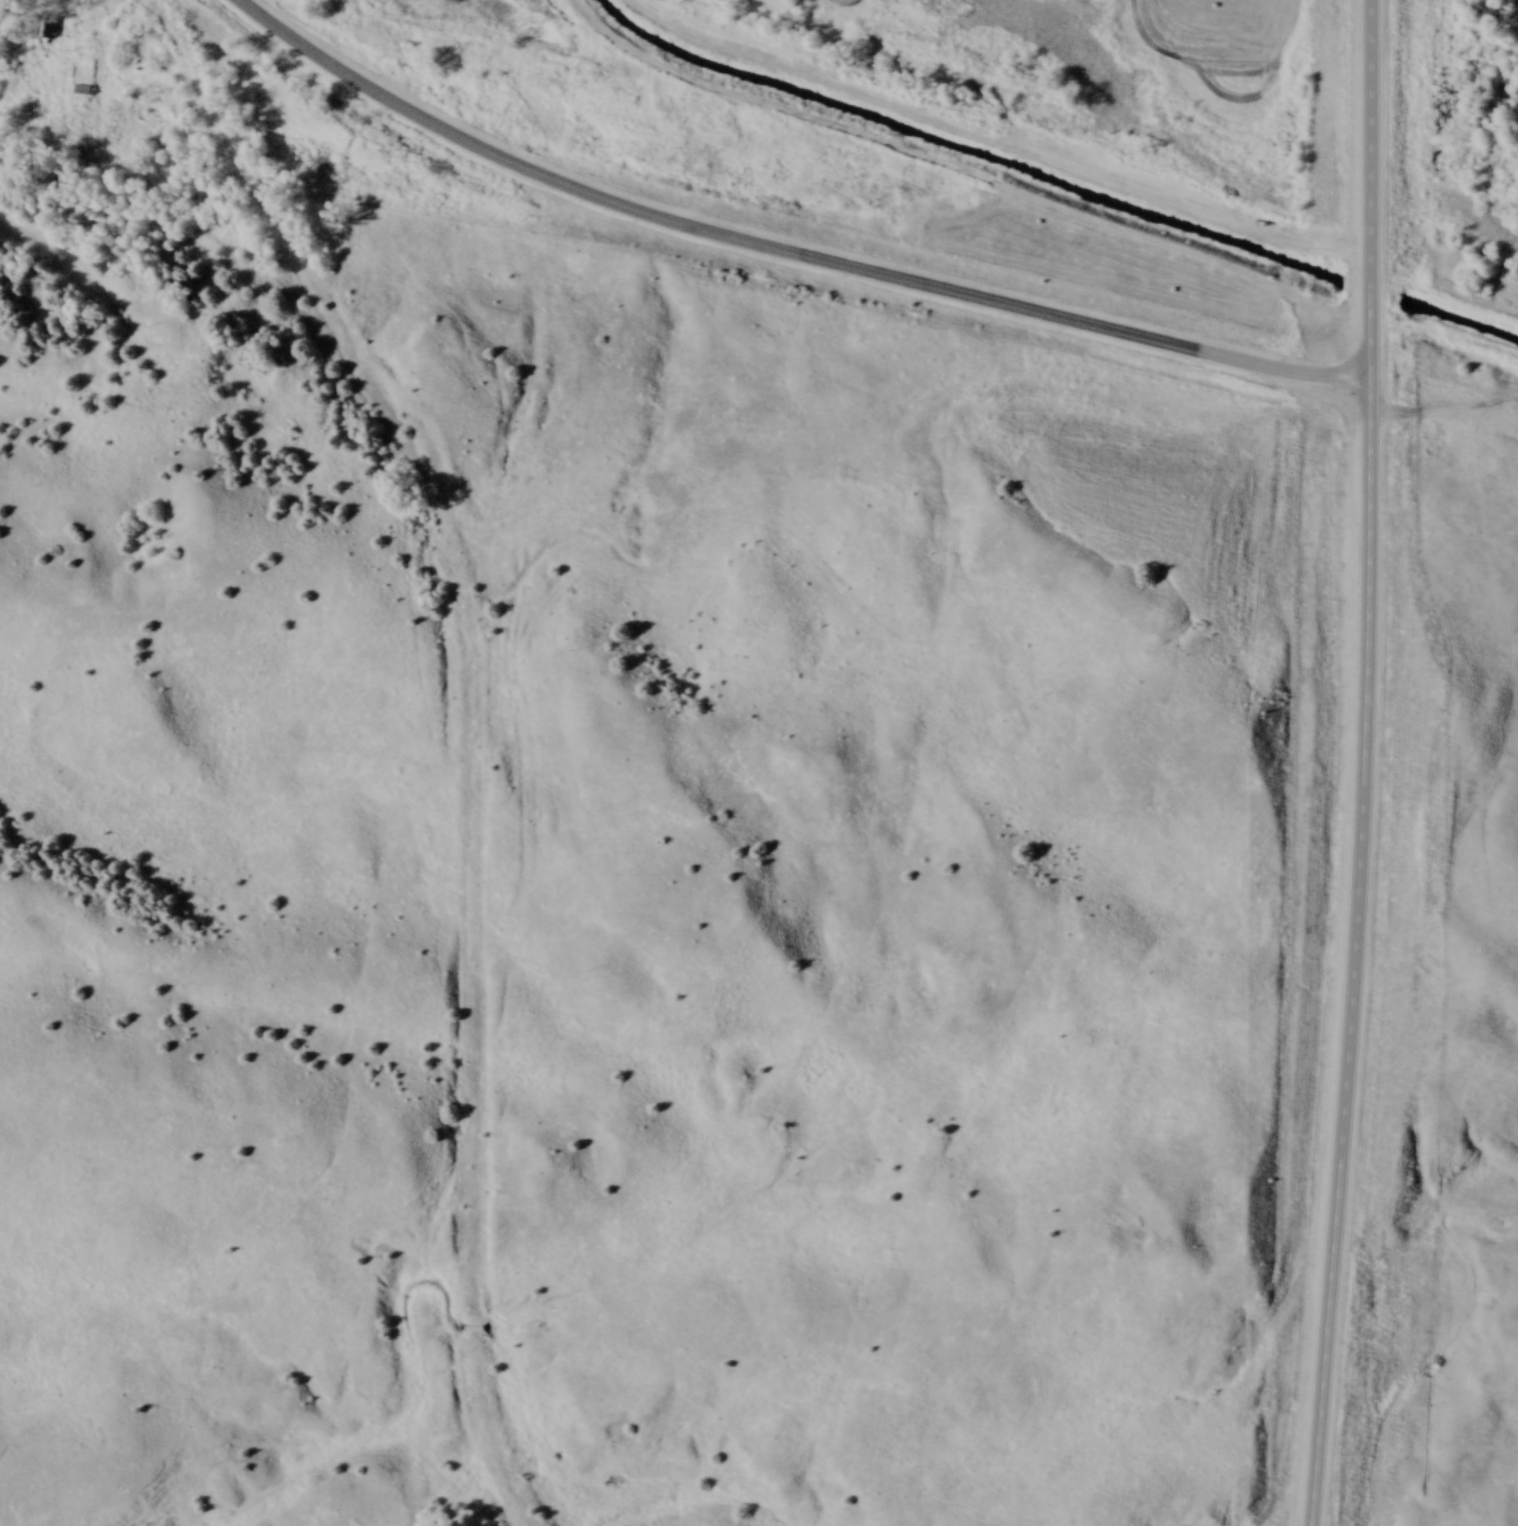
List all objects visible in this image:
building: (49, 34)
road: (103, 51)
building: (84, 92)
road: (778, 251)
road: (1356, 763)
building: (472, 1332)

